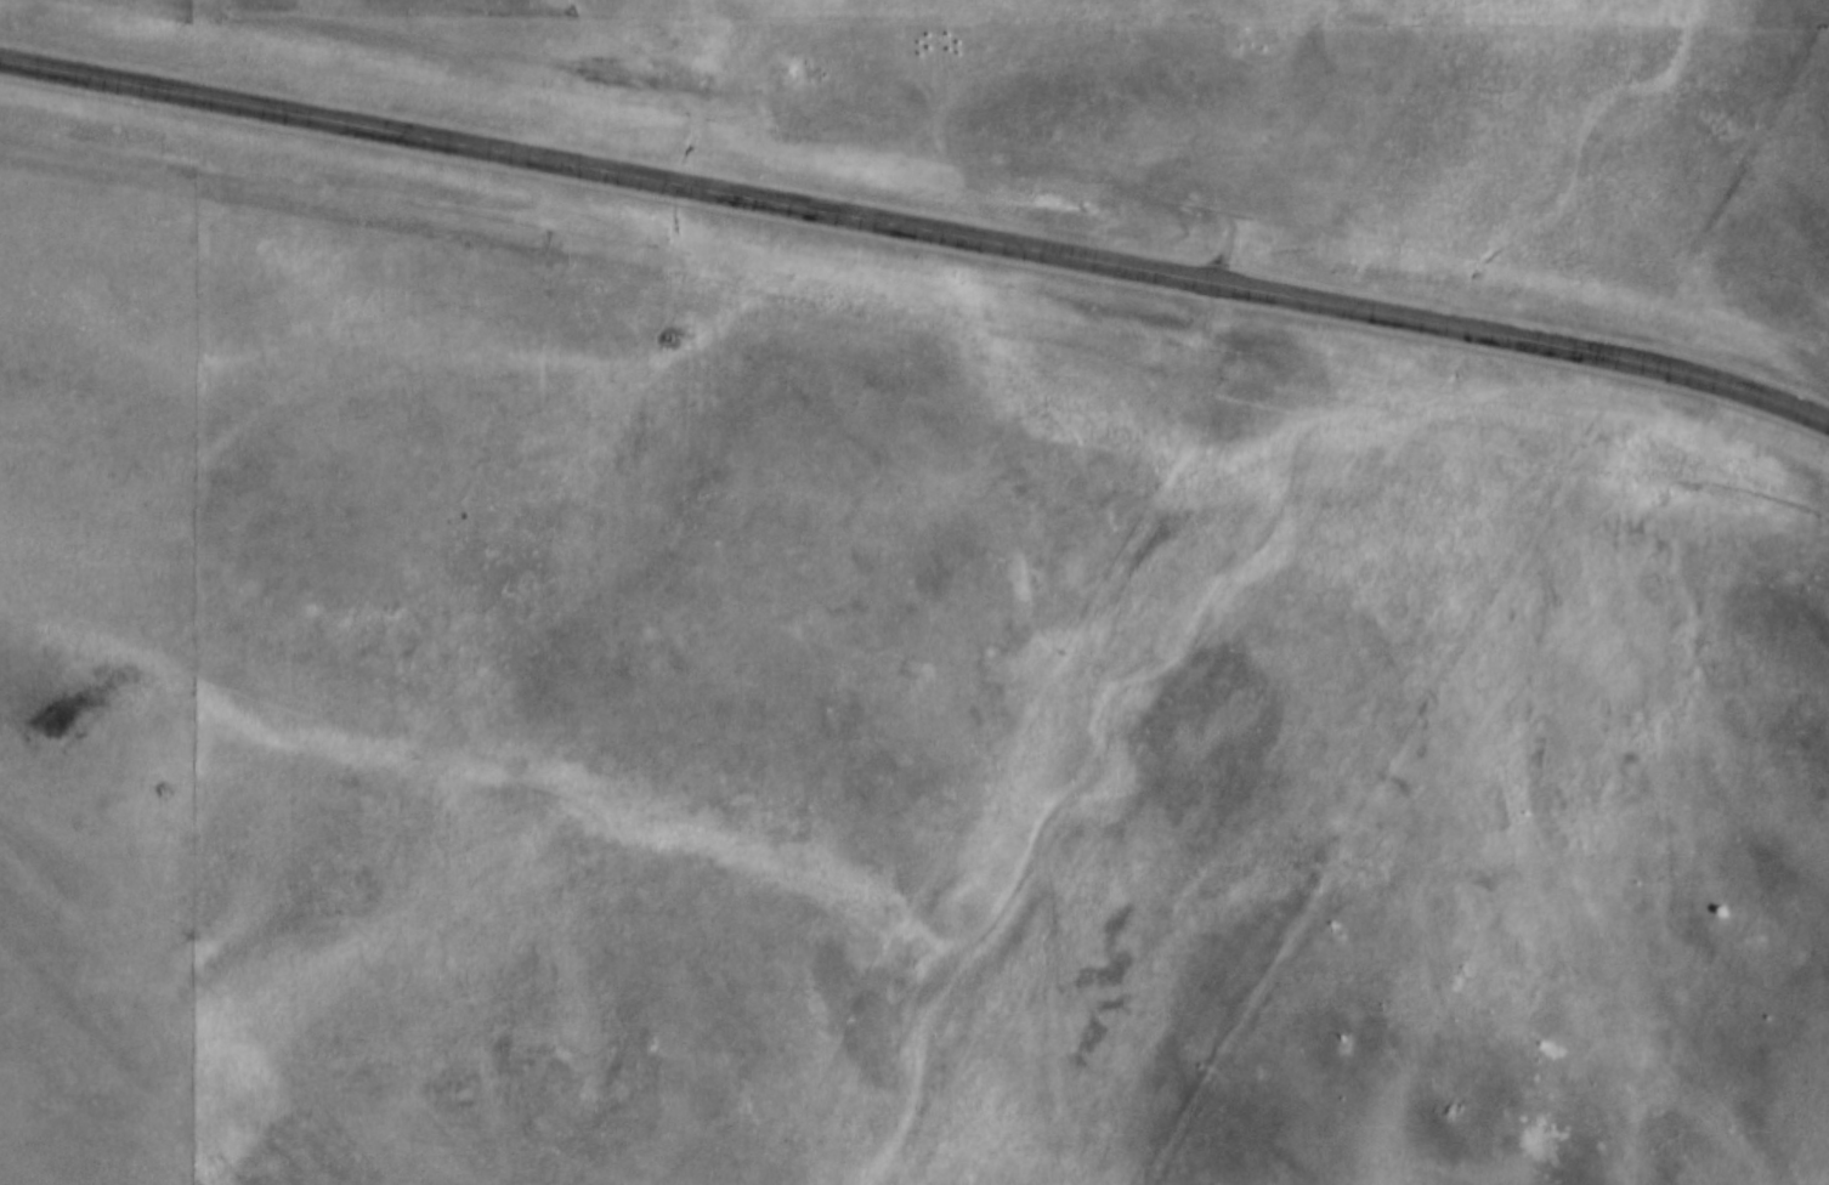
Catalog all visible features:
road: (917, 234)

